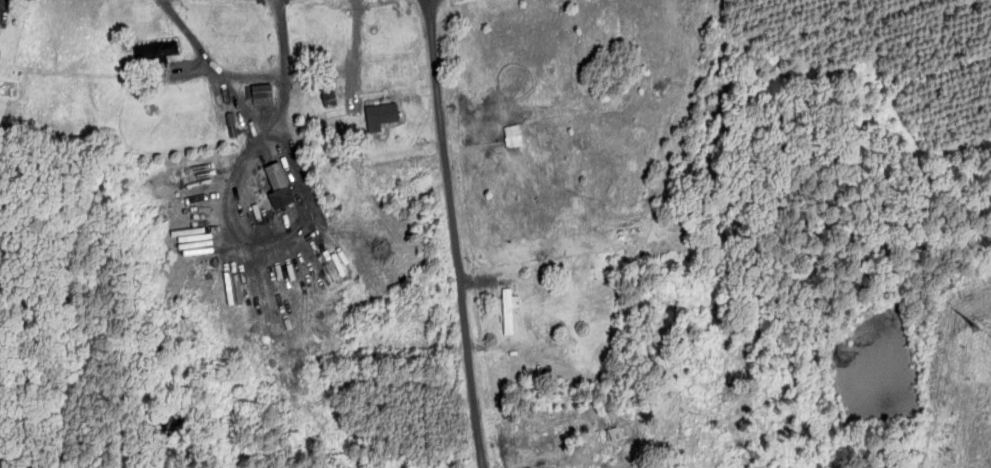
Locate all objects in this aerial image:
building: (0, 19)
building: (152, 54)
road: (314, 76)
road: (228, 87)
building: (258, 94)
building: (328, 94)
building: (380, 113)
building: (513, 134)
building: (276, 186)
road: (455, 234)
building: (506, 309)
power tower: (973, 323)

